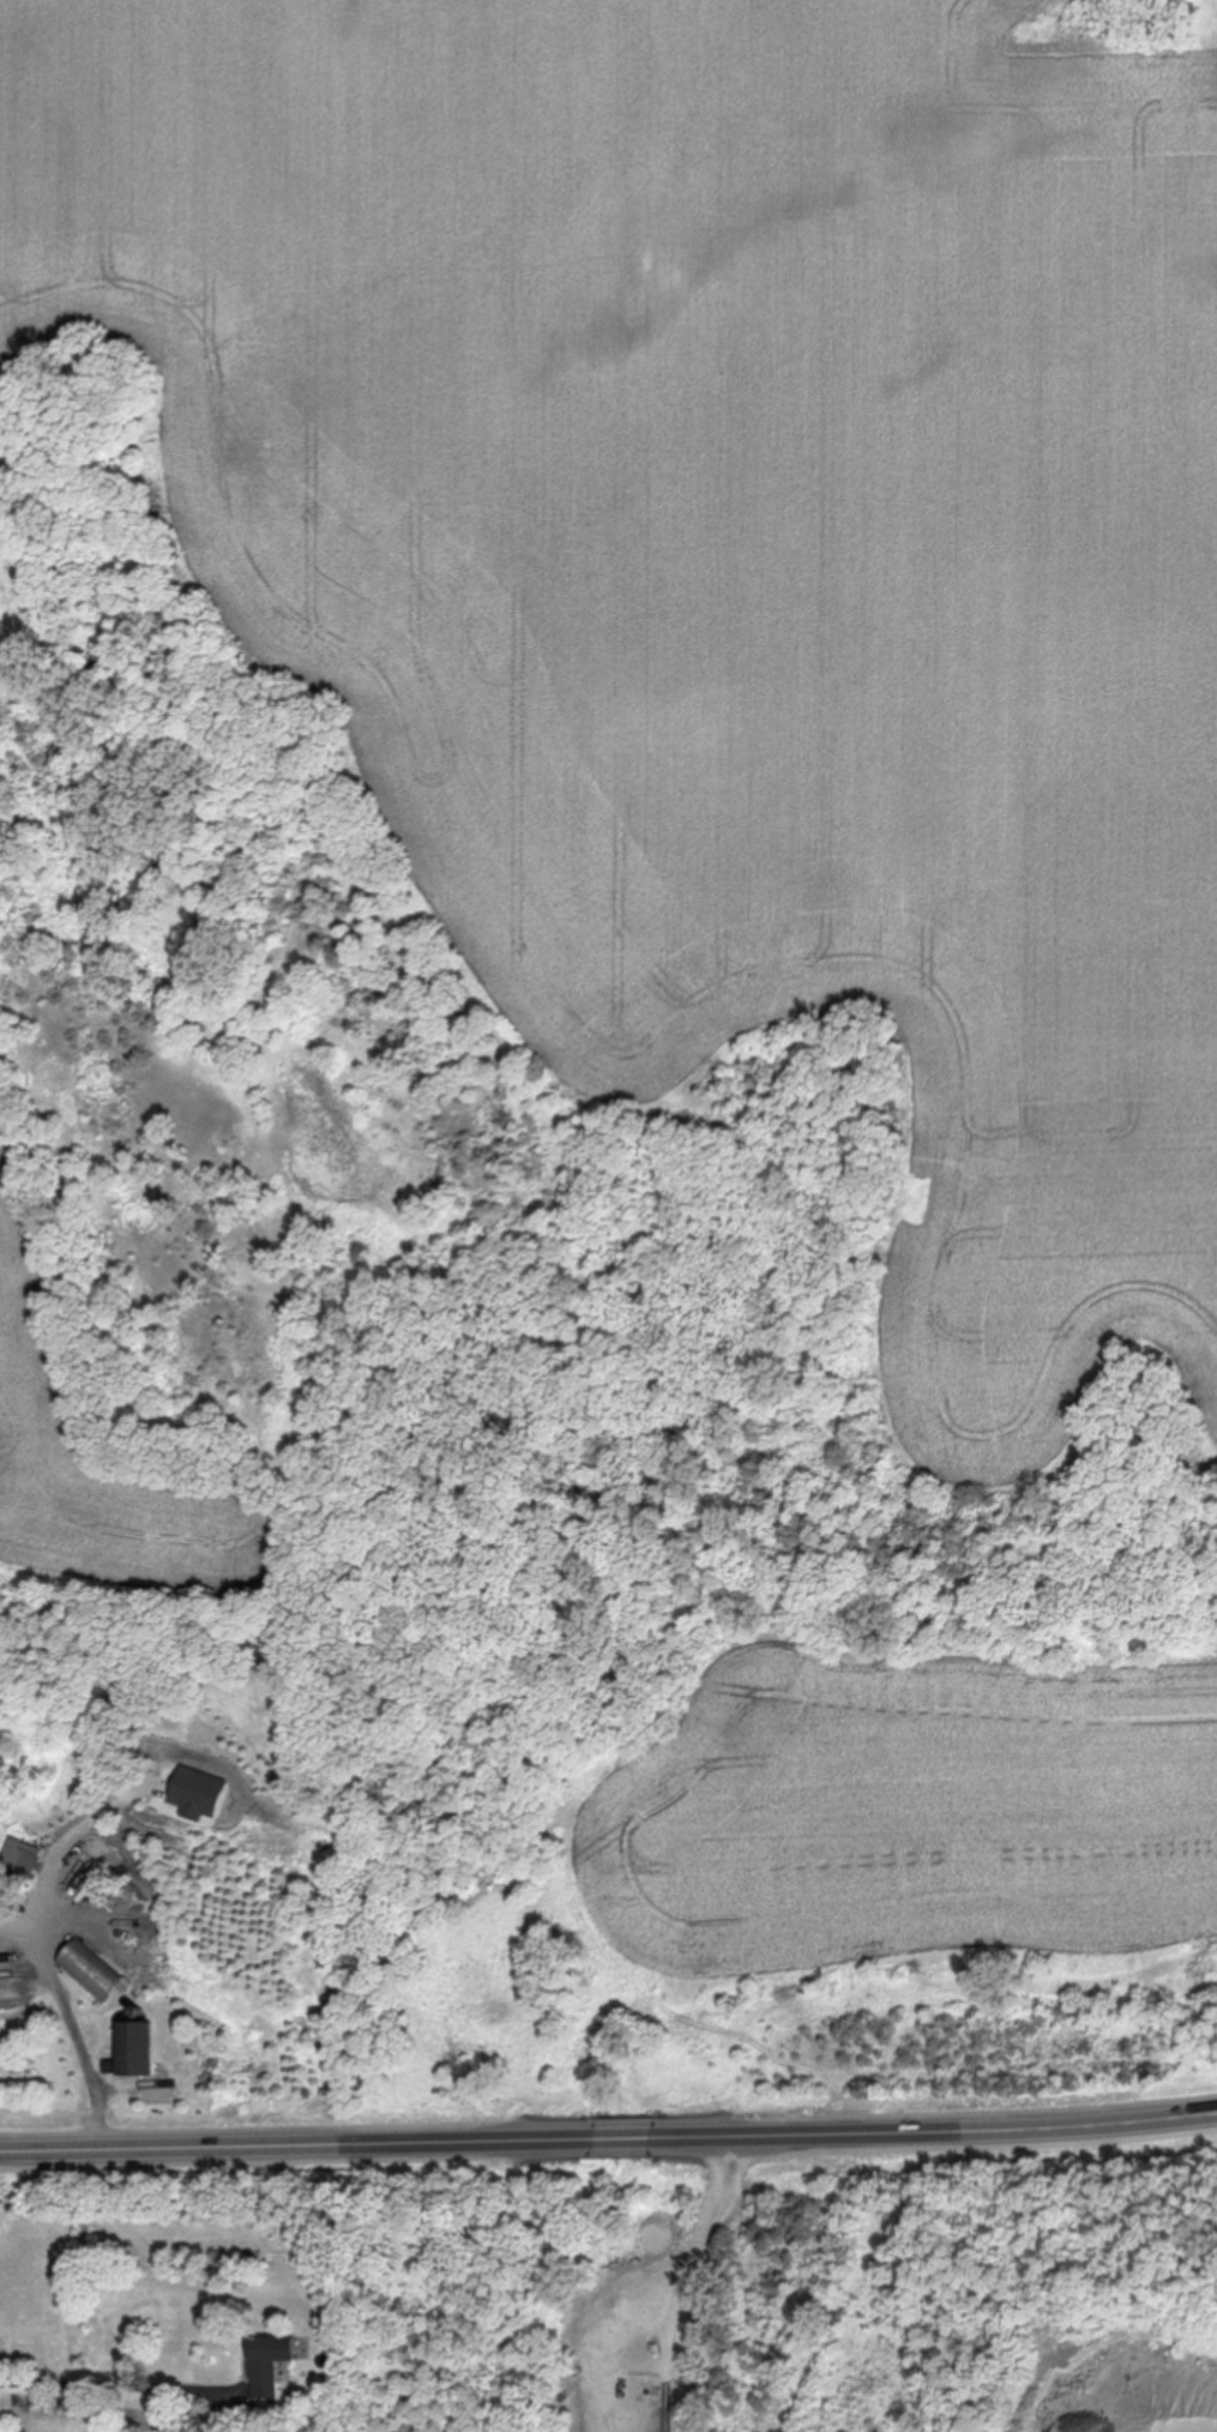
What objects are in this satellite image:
building: (91, 1973)
road: (68, 2007)
building: (139, 2049)
road: (935, 2133)
road: (621, 2136)
road: (294, 2142)
quarry: (797, 2290)
building: (270, 2362)
road: (112, 2384)

